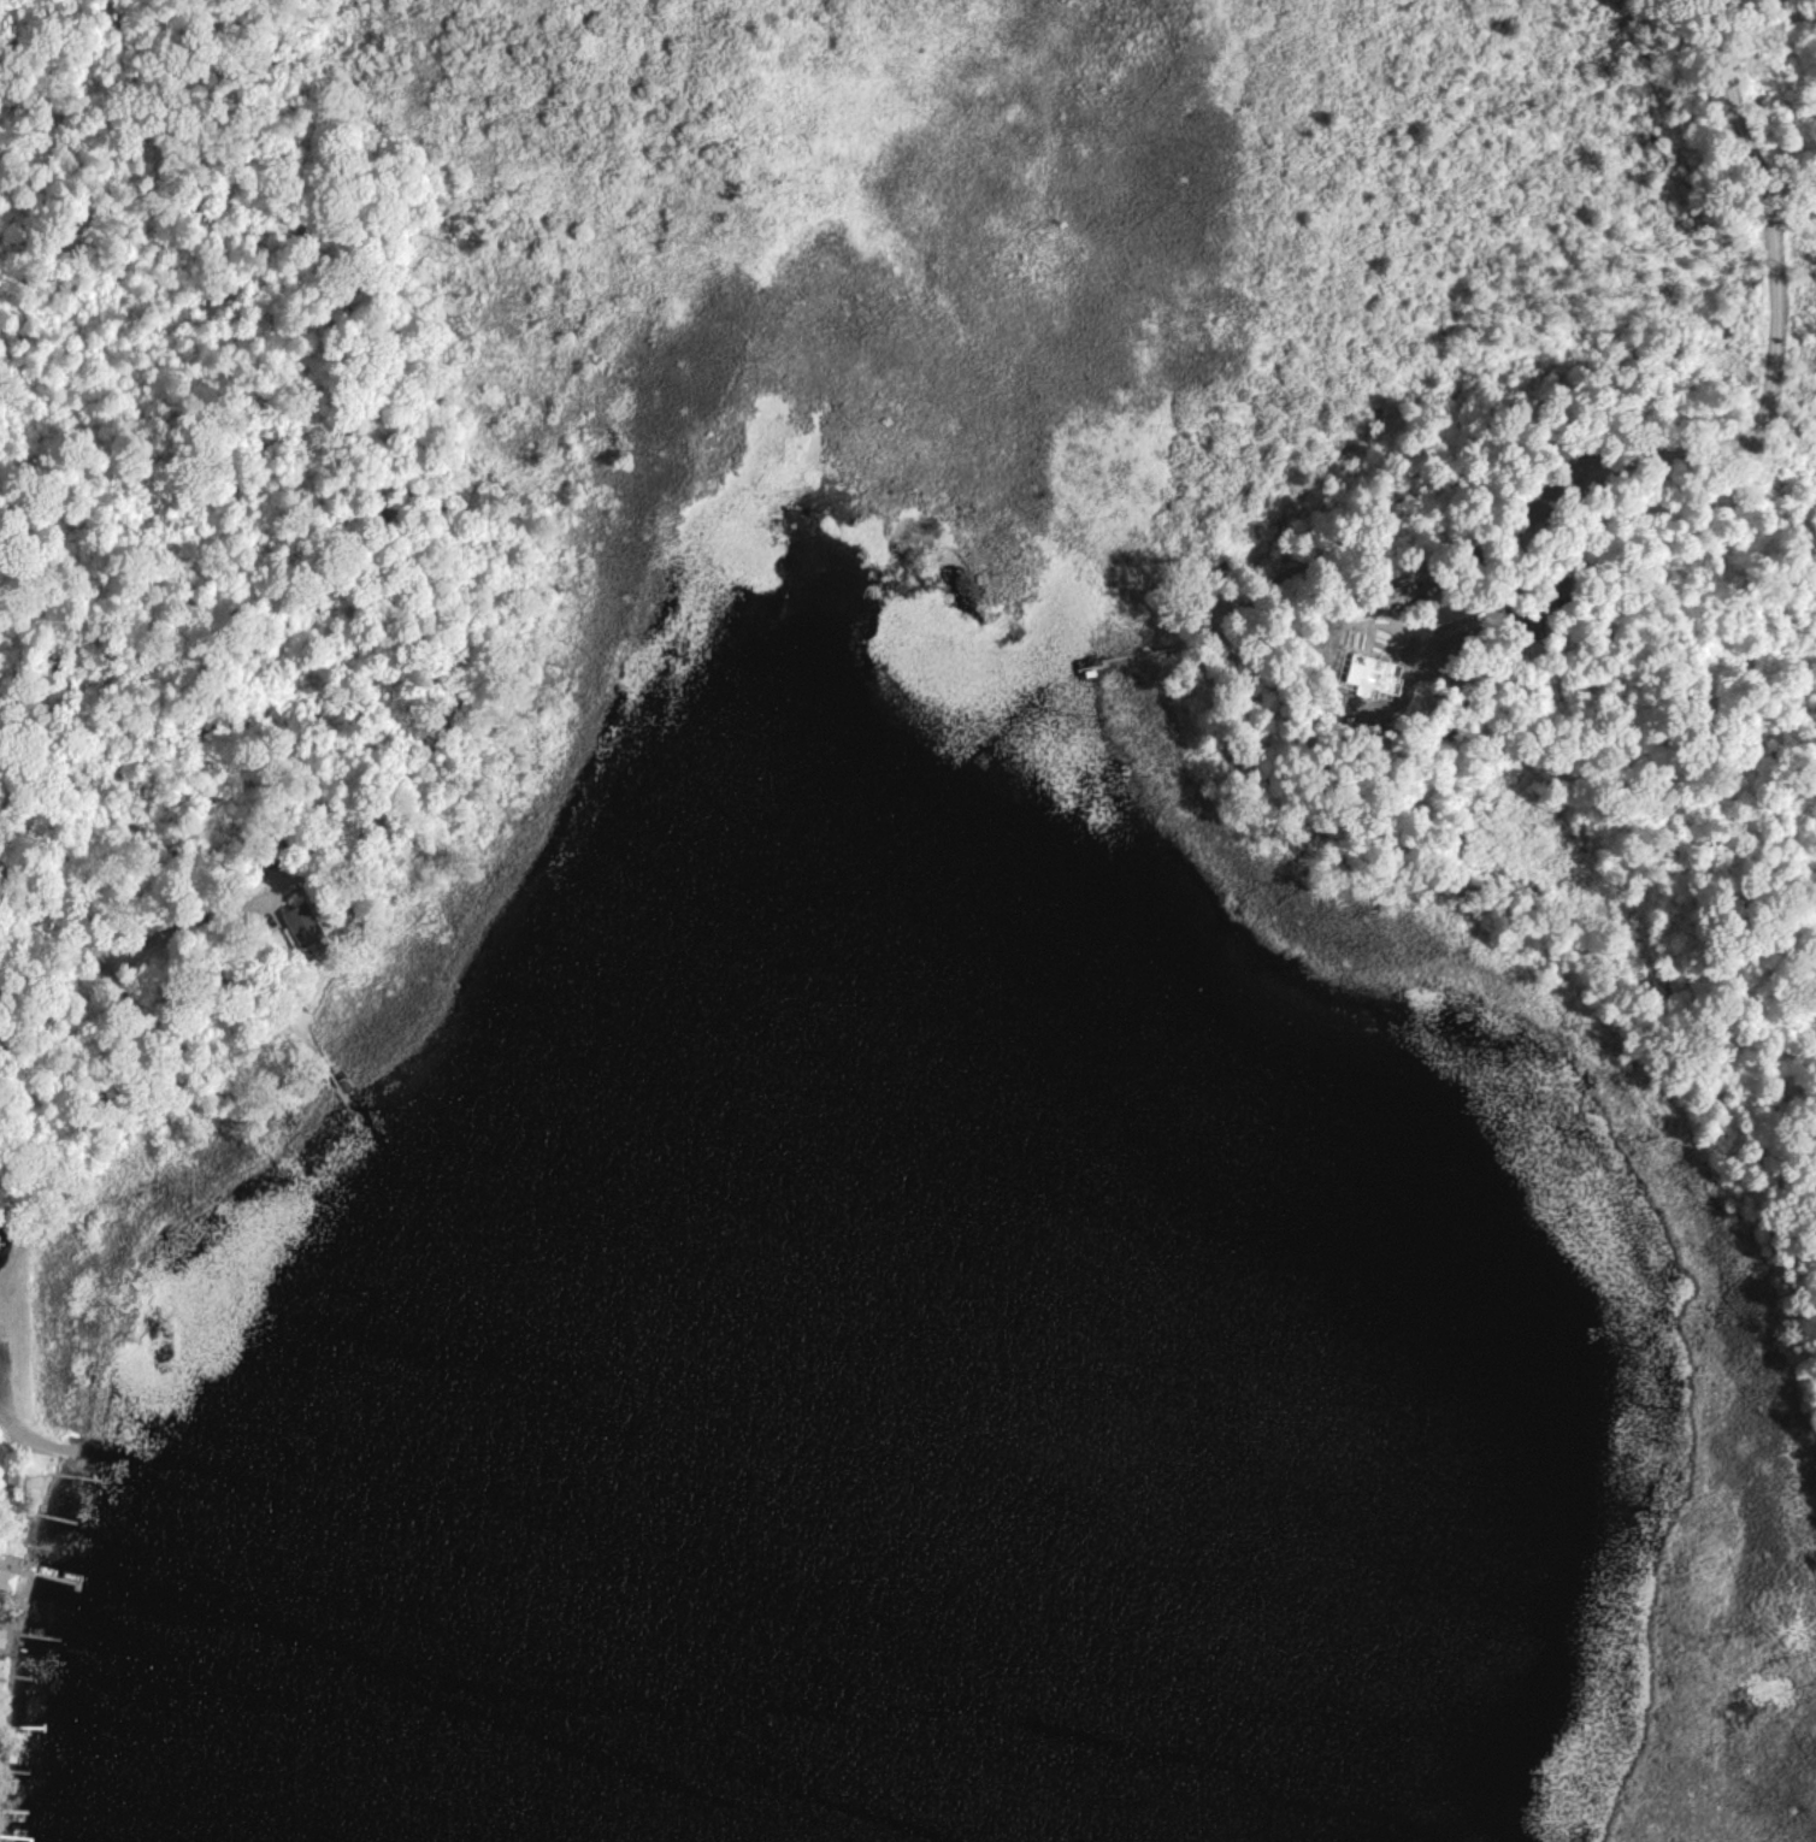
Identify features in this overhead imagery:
building: (271, 851)
building: (301, 923)
road: (110, 955)

